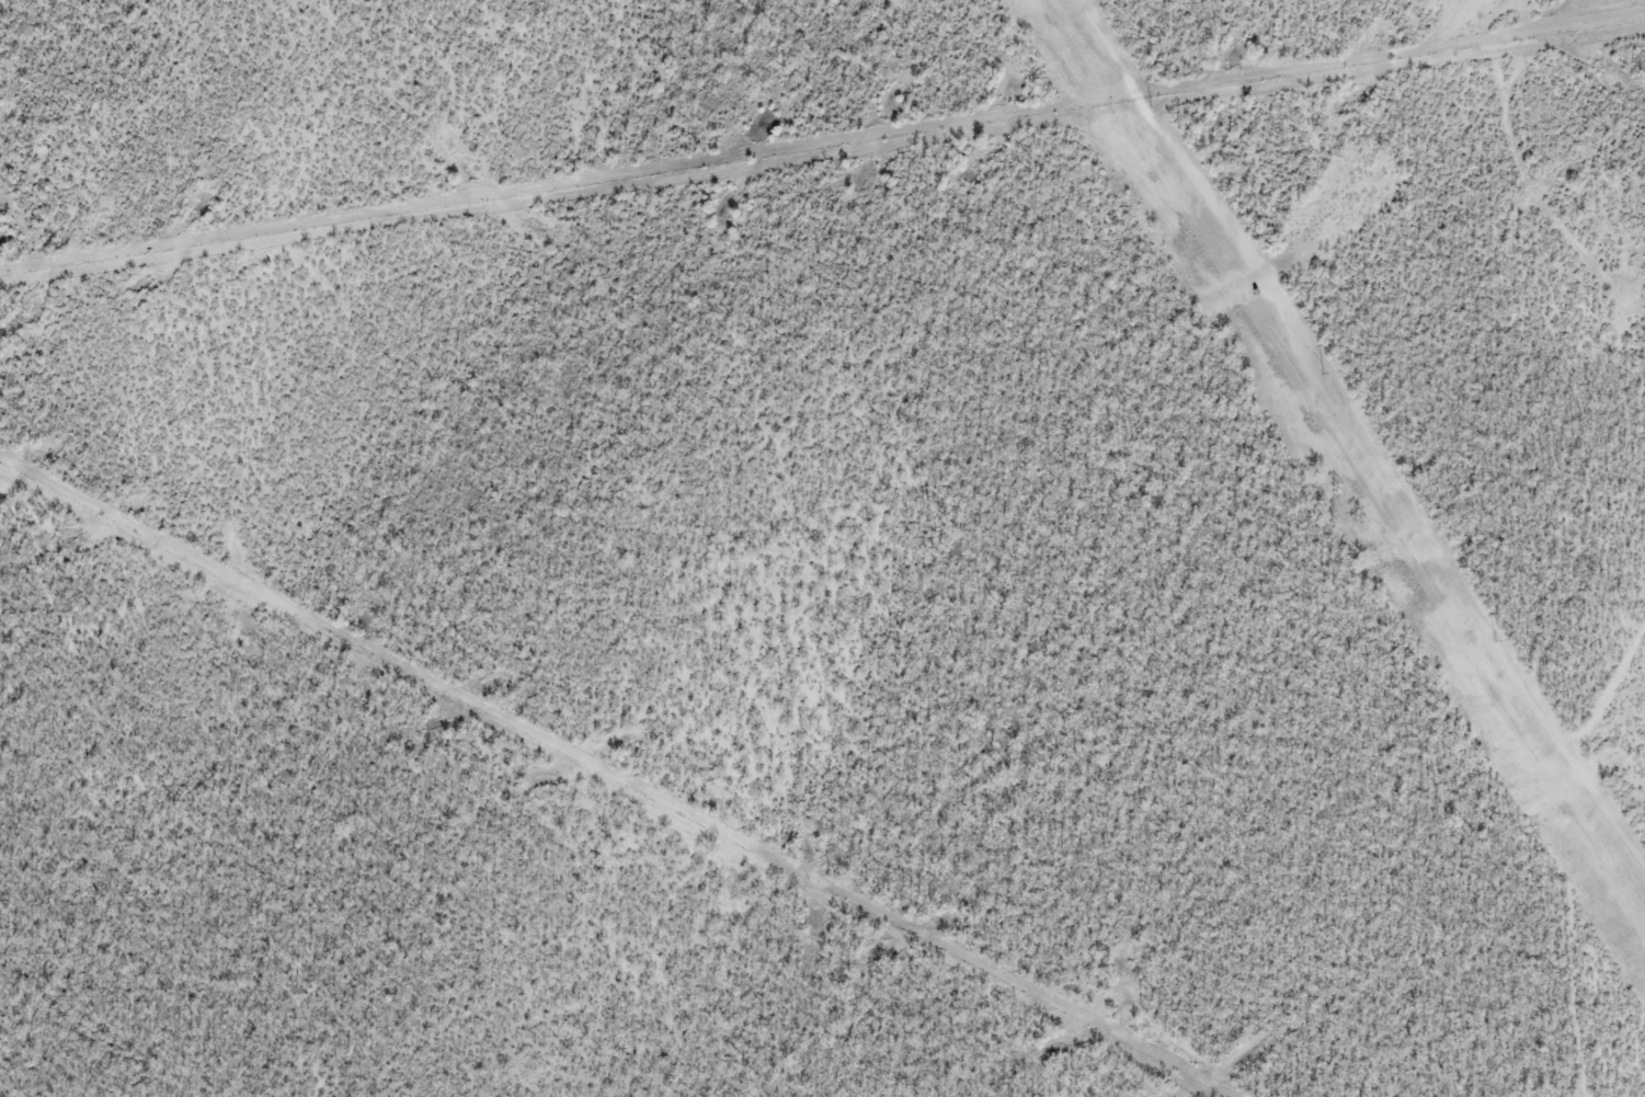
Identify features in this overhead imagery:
power tower: (1150, 104)
power tower: (1322, 368)
power tower: (1495, 639)

